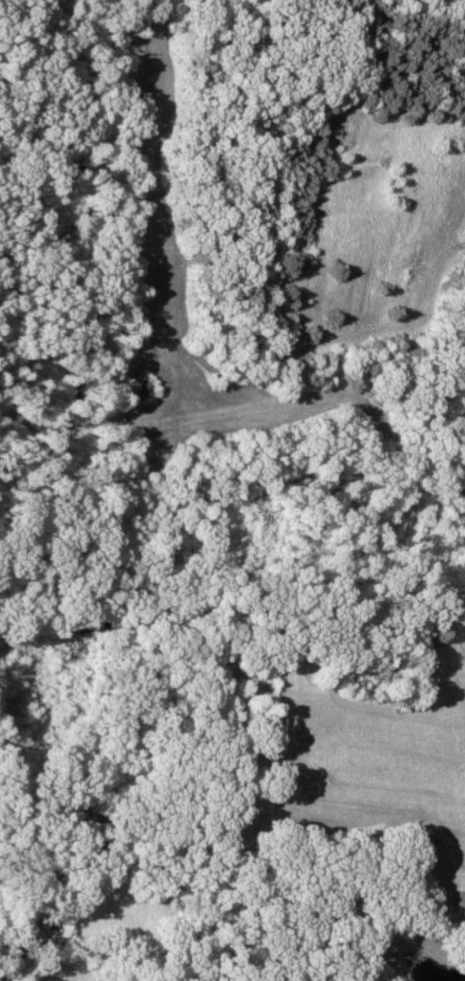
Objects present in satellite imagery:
road: (444, 891)

